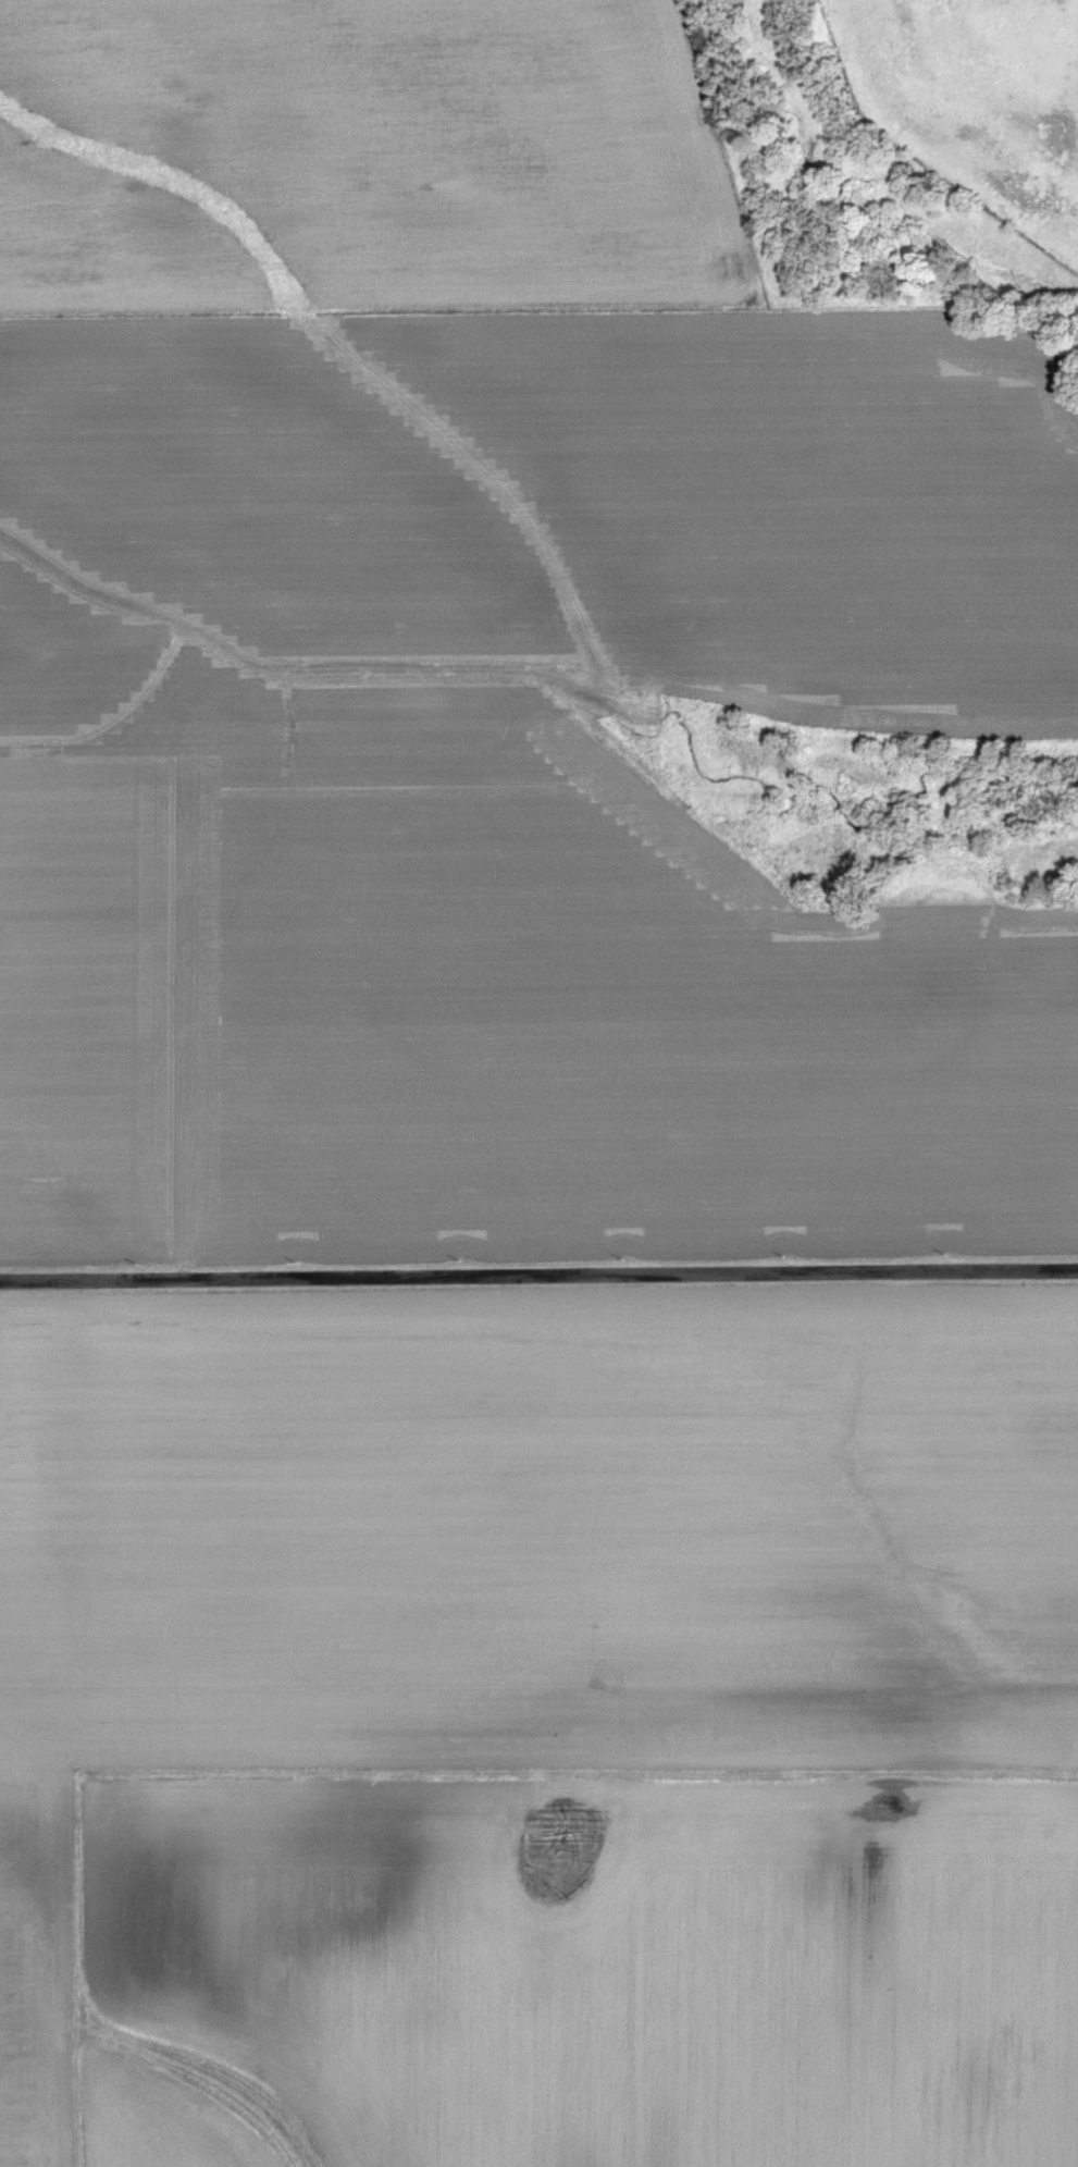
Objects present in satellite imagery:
road: (538, 1278)

